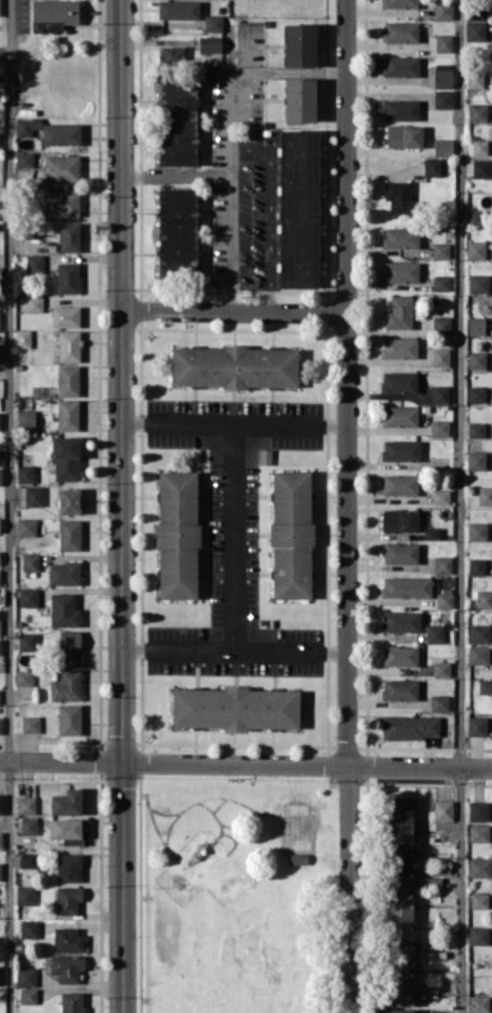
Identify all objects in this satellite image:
building: (400, 3)
building: (178, 9)
building: (443, 9)
building: (53, 14)
building: (213, 22)
building: (474, 30)
building: (400, 31)
building: (443, 43)
building: (209, 44)
building: (299, 45)
building: (171, 54)
building: (399, 66)
building: (442, 75)
building: (475, 79)
building: (442, 98)
building: (299, 99)
building: (400, 109)
building: (477, 112)
building: (177, 121)
building: (26, 126)
building: (60, 134)
building: (403, 135)
road: (232, 136)
building: (442, 146)
building: (479, 147)
building: (23, 159)
building: (60, 167)
building: (431, 167)
building: (480, 168)
road: (176, 175)
building: (398, 197)
building: (61, 202)
building: (297, 208)
road: (269, 216)
building: (475, 216)
building: (176, 230)
building: (68, 236)
building: (400, 237)
building: (475, 249)
building: (441, 250)
building: (33, 263)
building: (400, 271)
building: (0, 276)
building: (66, 277)
building: (440, 282)
building: (478, 283)
building: (34, 304)
building: (399, 312)
road: (234, 313)
building: (65, 316)
building: (441, 325)
building: (476, 325)
building: (22, 338)
building: (68, 346)
building: (398, 347)
building: (0, 352)
building: (440, 357)
building: (476, 360)
building: (233, 366)
building: (67, 380)
building: (398, 381)
road: (348, 382)
building: (440, 394)
building: (476, 394)
building: (67, 414)
building: (399, 416)
building: (25, 419)
building: (0, 420)
road: (235, 422)
building: (439, 427)
building: (475, 429)
building: (400, 450)
building: (264, 456)
building: (66, 458)
building: (475, 460)
building: (25, 473)
building: (1, 475)
building: (400, 484)
building: (484, 495)
building: (33, 496)
building: (440, 496)
building: (67, 500)
road: (9, 506)
road: (122, 506)
road: (461, 506)
building: (400, 519)
building: (26, 526)
building: (476, 531)
building: (431, 533)
building: (69, 534)
building: (291, 534)
building: (177, 535)
road: (235, 536)
building: (400, 552)
building: (0, 557)
building: (30, 562)
building: (442, 564)
building: (476, 566)
building: (64, 573)
building: (0, 577)
building: (406, 587)
building: (28, 597)
building: (483, 599)
building: (444, 600)
building: (63, 610)
building: (400, 621)
building: (0, 622)
building: (434, 632)
building: (479, 633)
building: (26, 642)
building: (1, 646)
building: (69, 648)
road: (235, 649)
building: (478, 654)
building: (400, 655)
building: (441, 668)
building: (23, 677)
building: (66, 685)
building: (485, 686)
building: (399, 689)
building: (439, 702)
building: (235, 708)
building: (68, 719)
building: (0, 724)
building: (30, 724)
building: (476, 725)
building: (410, 727)
road: (245, 764)
building: (66, 802)
building: (1, 803)
building: (25, 805)
building: (297, 809)
building: (443, 809)
building: (477, 810)
building: (28, 826)
building: (66, 830)
building: (478, 833)
building: (0, 839)
building: (400, 842)
building: (297, 858)
building: (28, 859)
building: (68, 867)
building: (479, 867)
building: (0, 870)
road: (348, 889)
park: (236, 893)
building: (25, 894)
building: (67, 899)
building: (478, 900)
building: (28, 928)
building: (478, 935)
building: (67, 939)
building: (400, 949)
building: (66, 966)
building: (1, 975)
building: (25, 976)
building: (28, 995)
building: (71, 1002)
building: (478, 1003)
building: (400, 1010)

